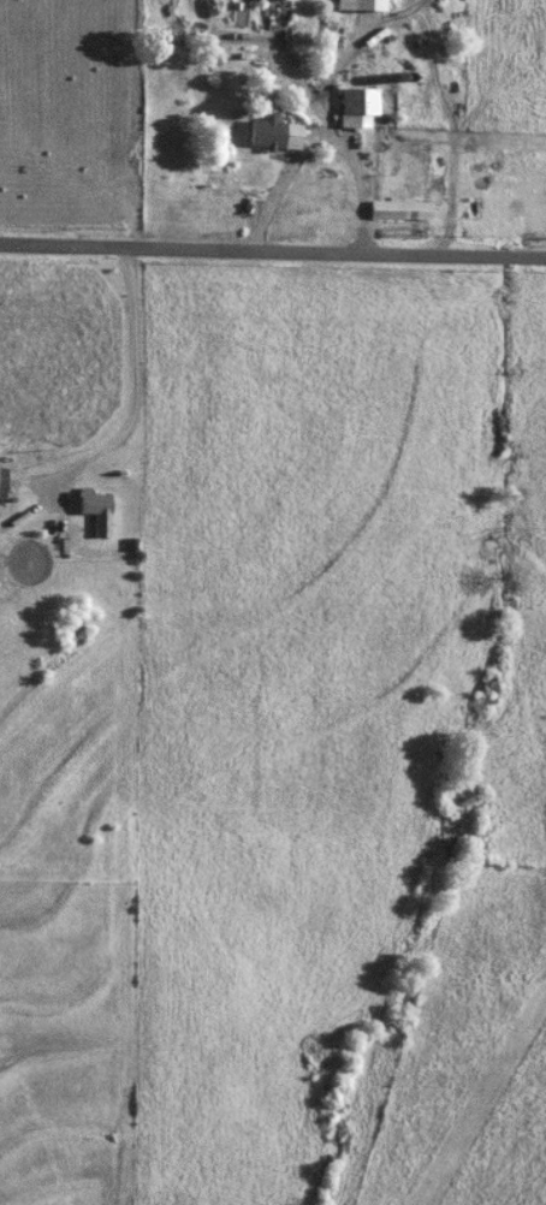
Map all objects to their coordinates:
building: (366, 101)
road: (342, 132)
building: (281, 133)
building: (406, 209)
road: (272, 253)
road: (133, 387)
building: (5, 483)
building: (103, 511)

